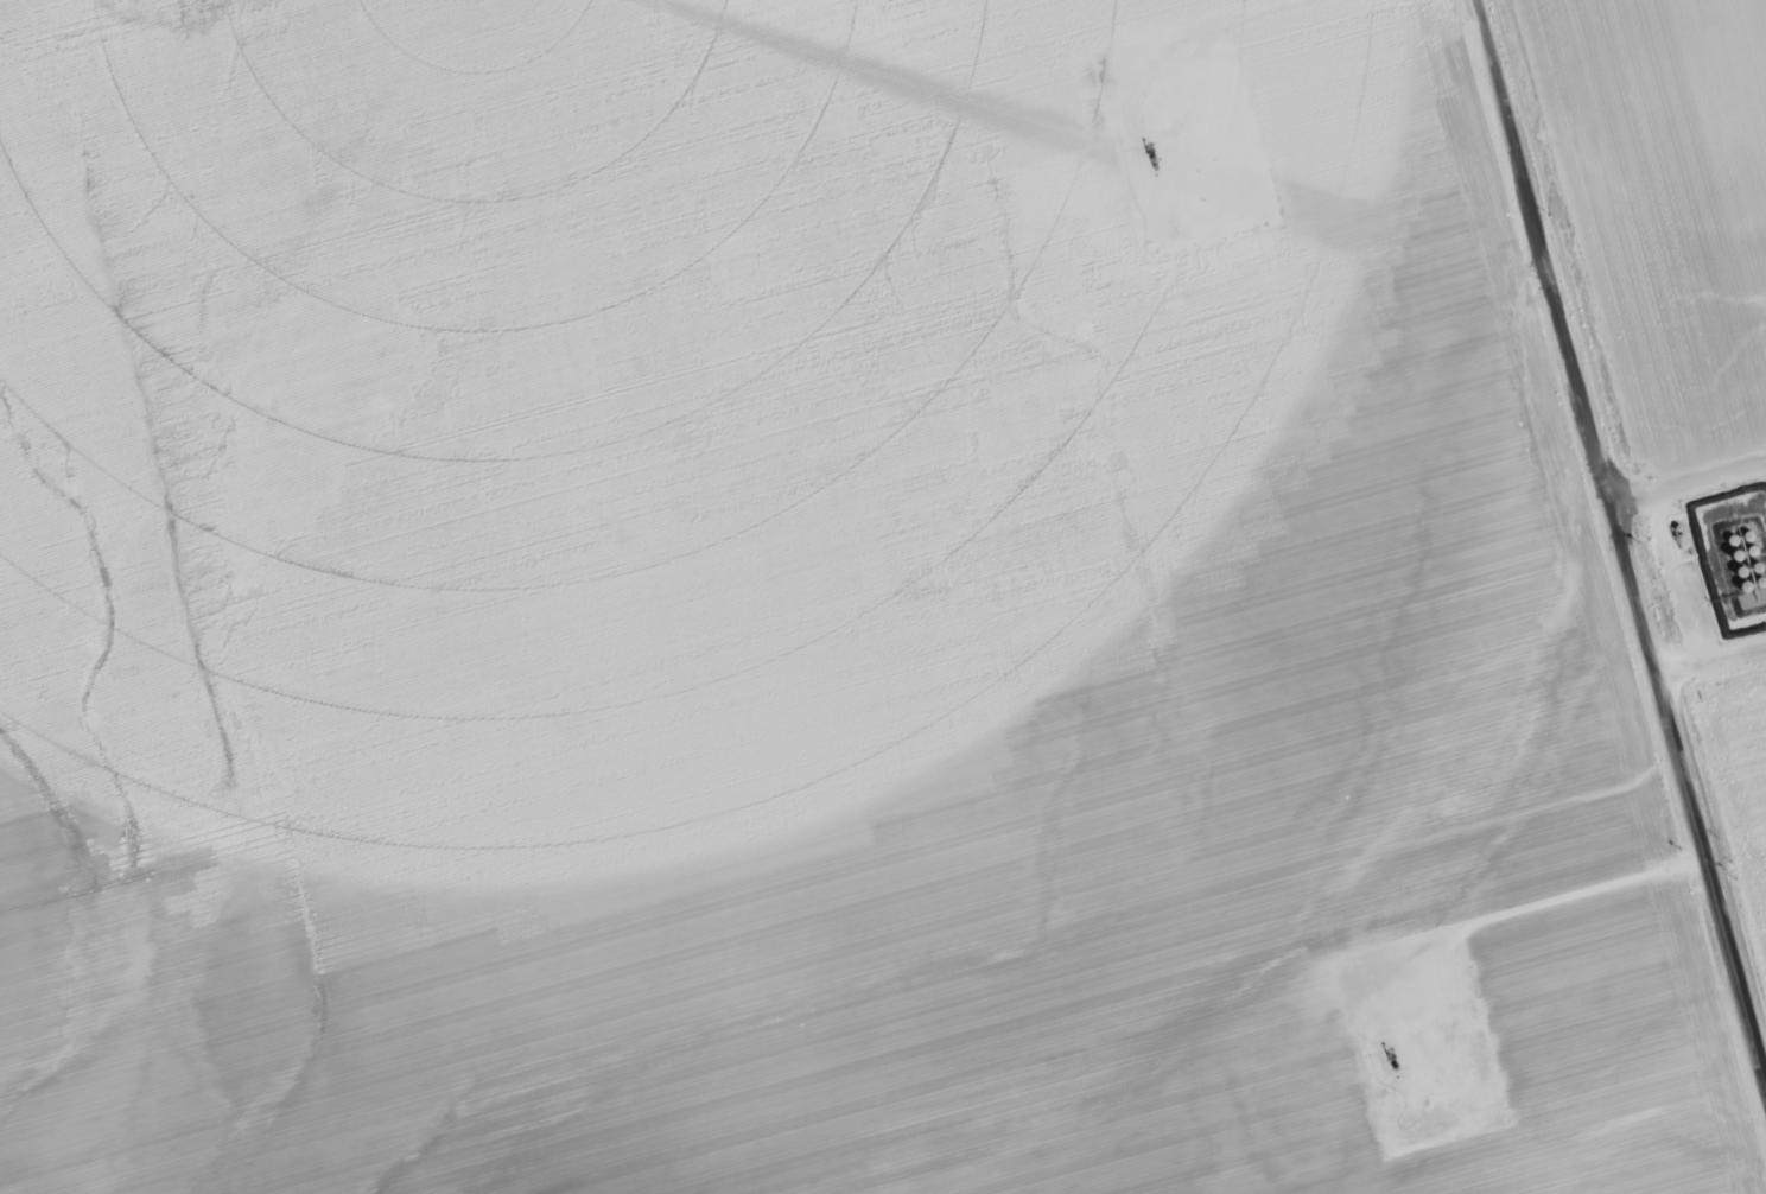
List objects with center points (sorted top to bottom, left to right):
road: (1619, 572)

